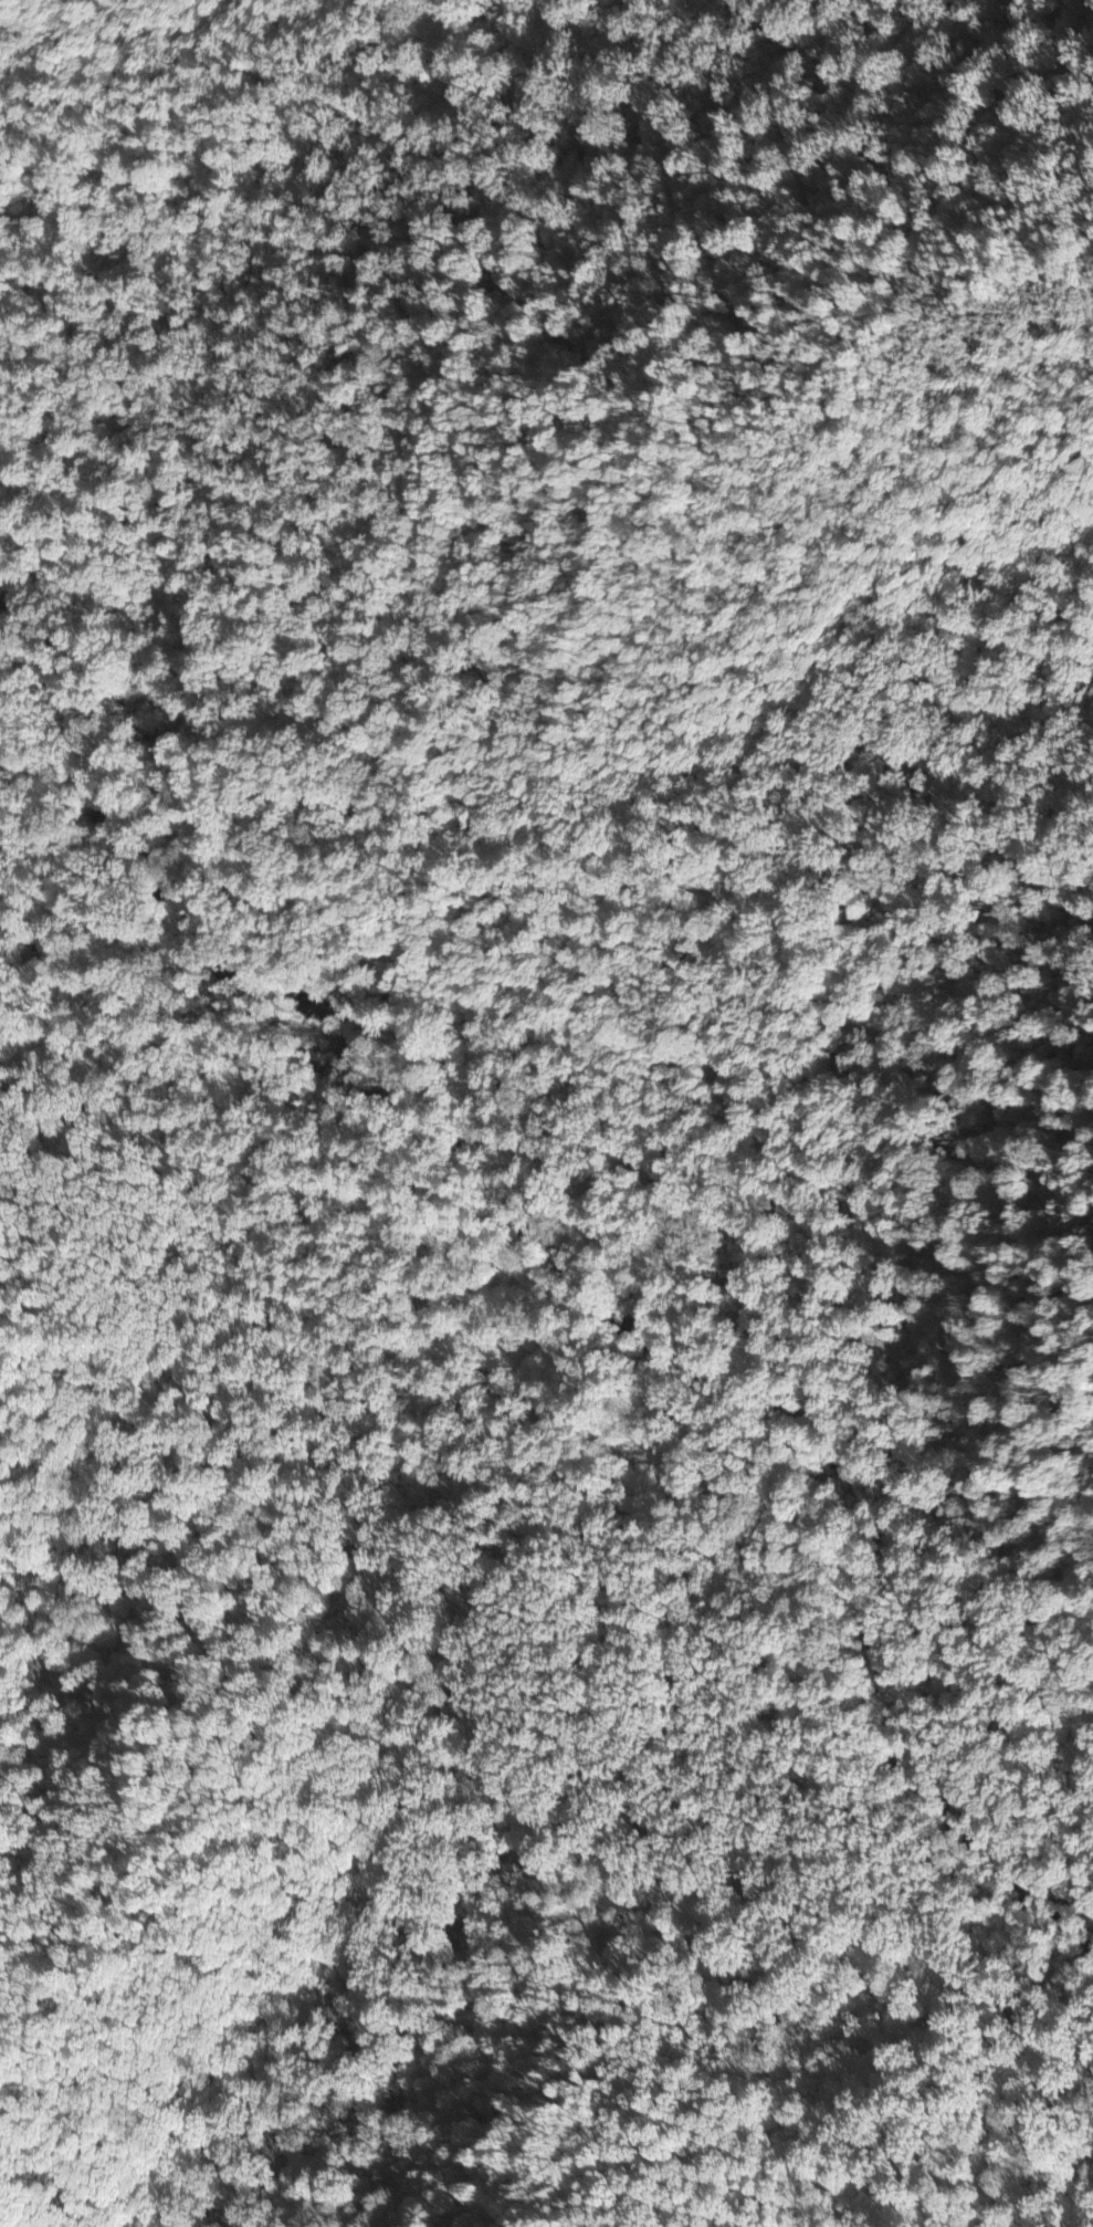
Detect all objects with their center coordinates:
road: (395, 275)
road: (590, 1087)

